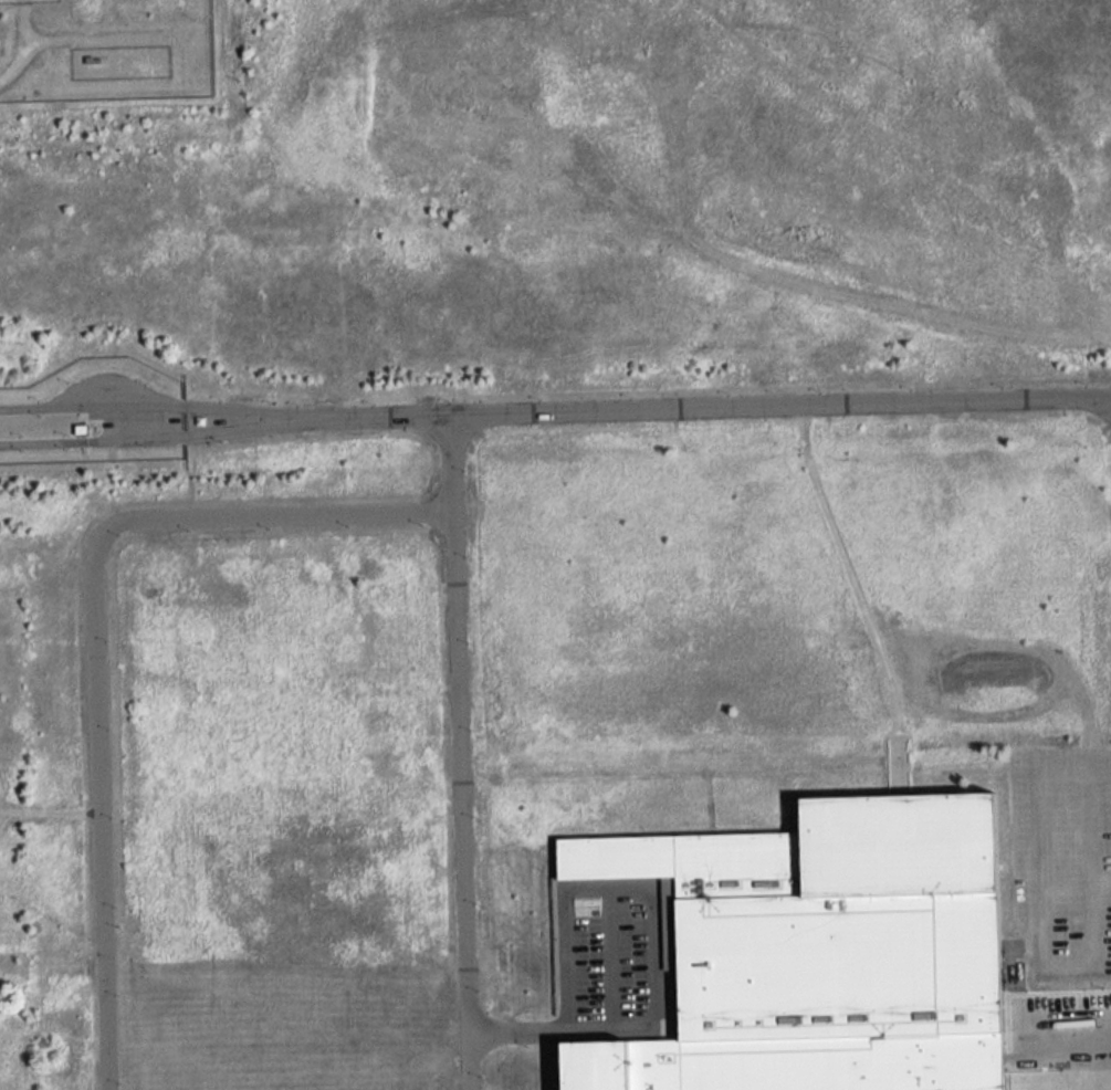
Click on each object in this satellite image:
power substation: (31, 2)
road: (101, 41)
road: (125, 46)
road: (29, 52)
road: (156, 403)
road: (779, 403)
road: (380, 415)
road: (156, 437)
road: (451, 462)
road: (95, 633)
road: (460, 800)
road: (1038, 839)
road: (1102, 879)
road: (653, 936)
building: (820, 950)
road: (610, 957)
road: (1066, 1024)

